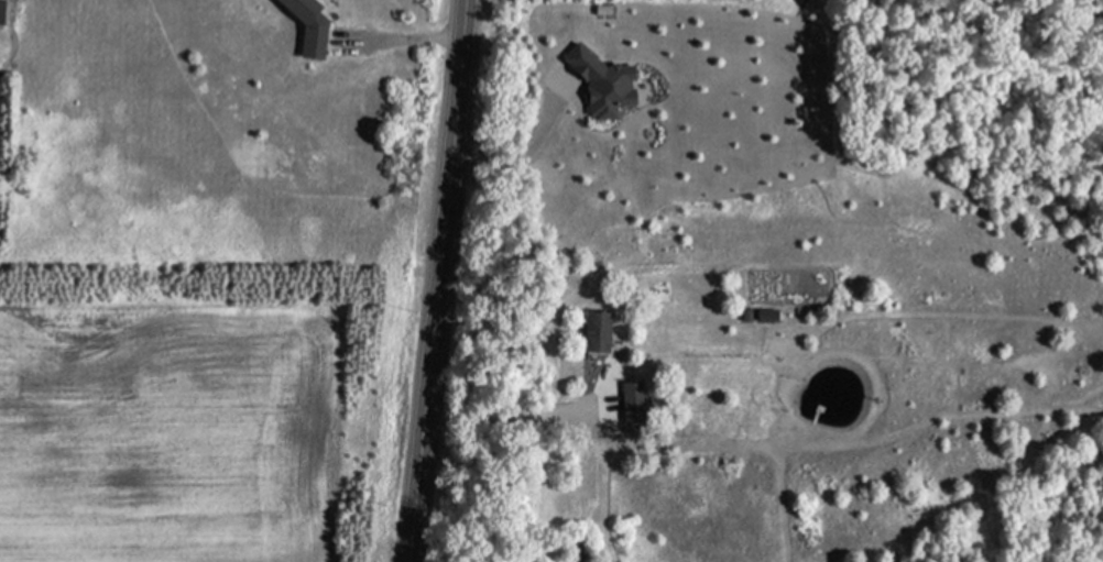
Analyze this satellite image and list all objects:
building: (1, 10)
building: (310, 26)
road: (409, 32)
road: (532, 148)
road: (441, 280)
building: (597, 332)
building: (634, 403)
road: (525, 406)

